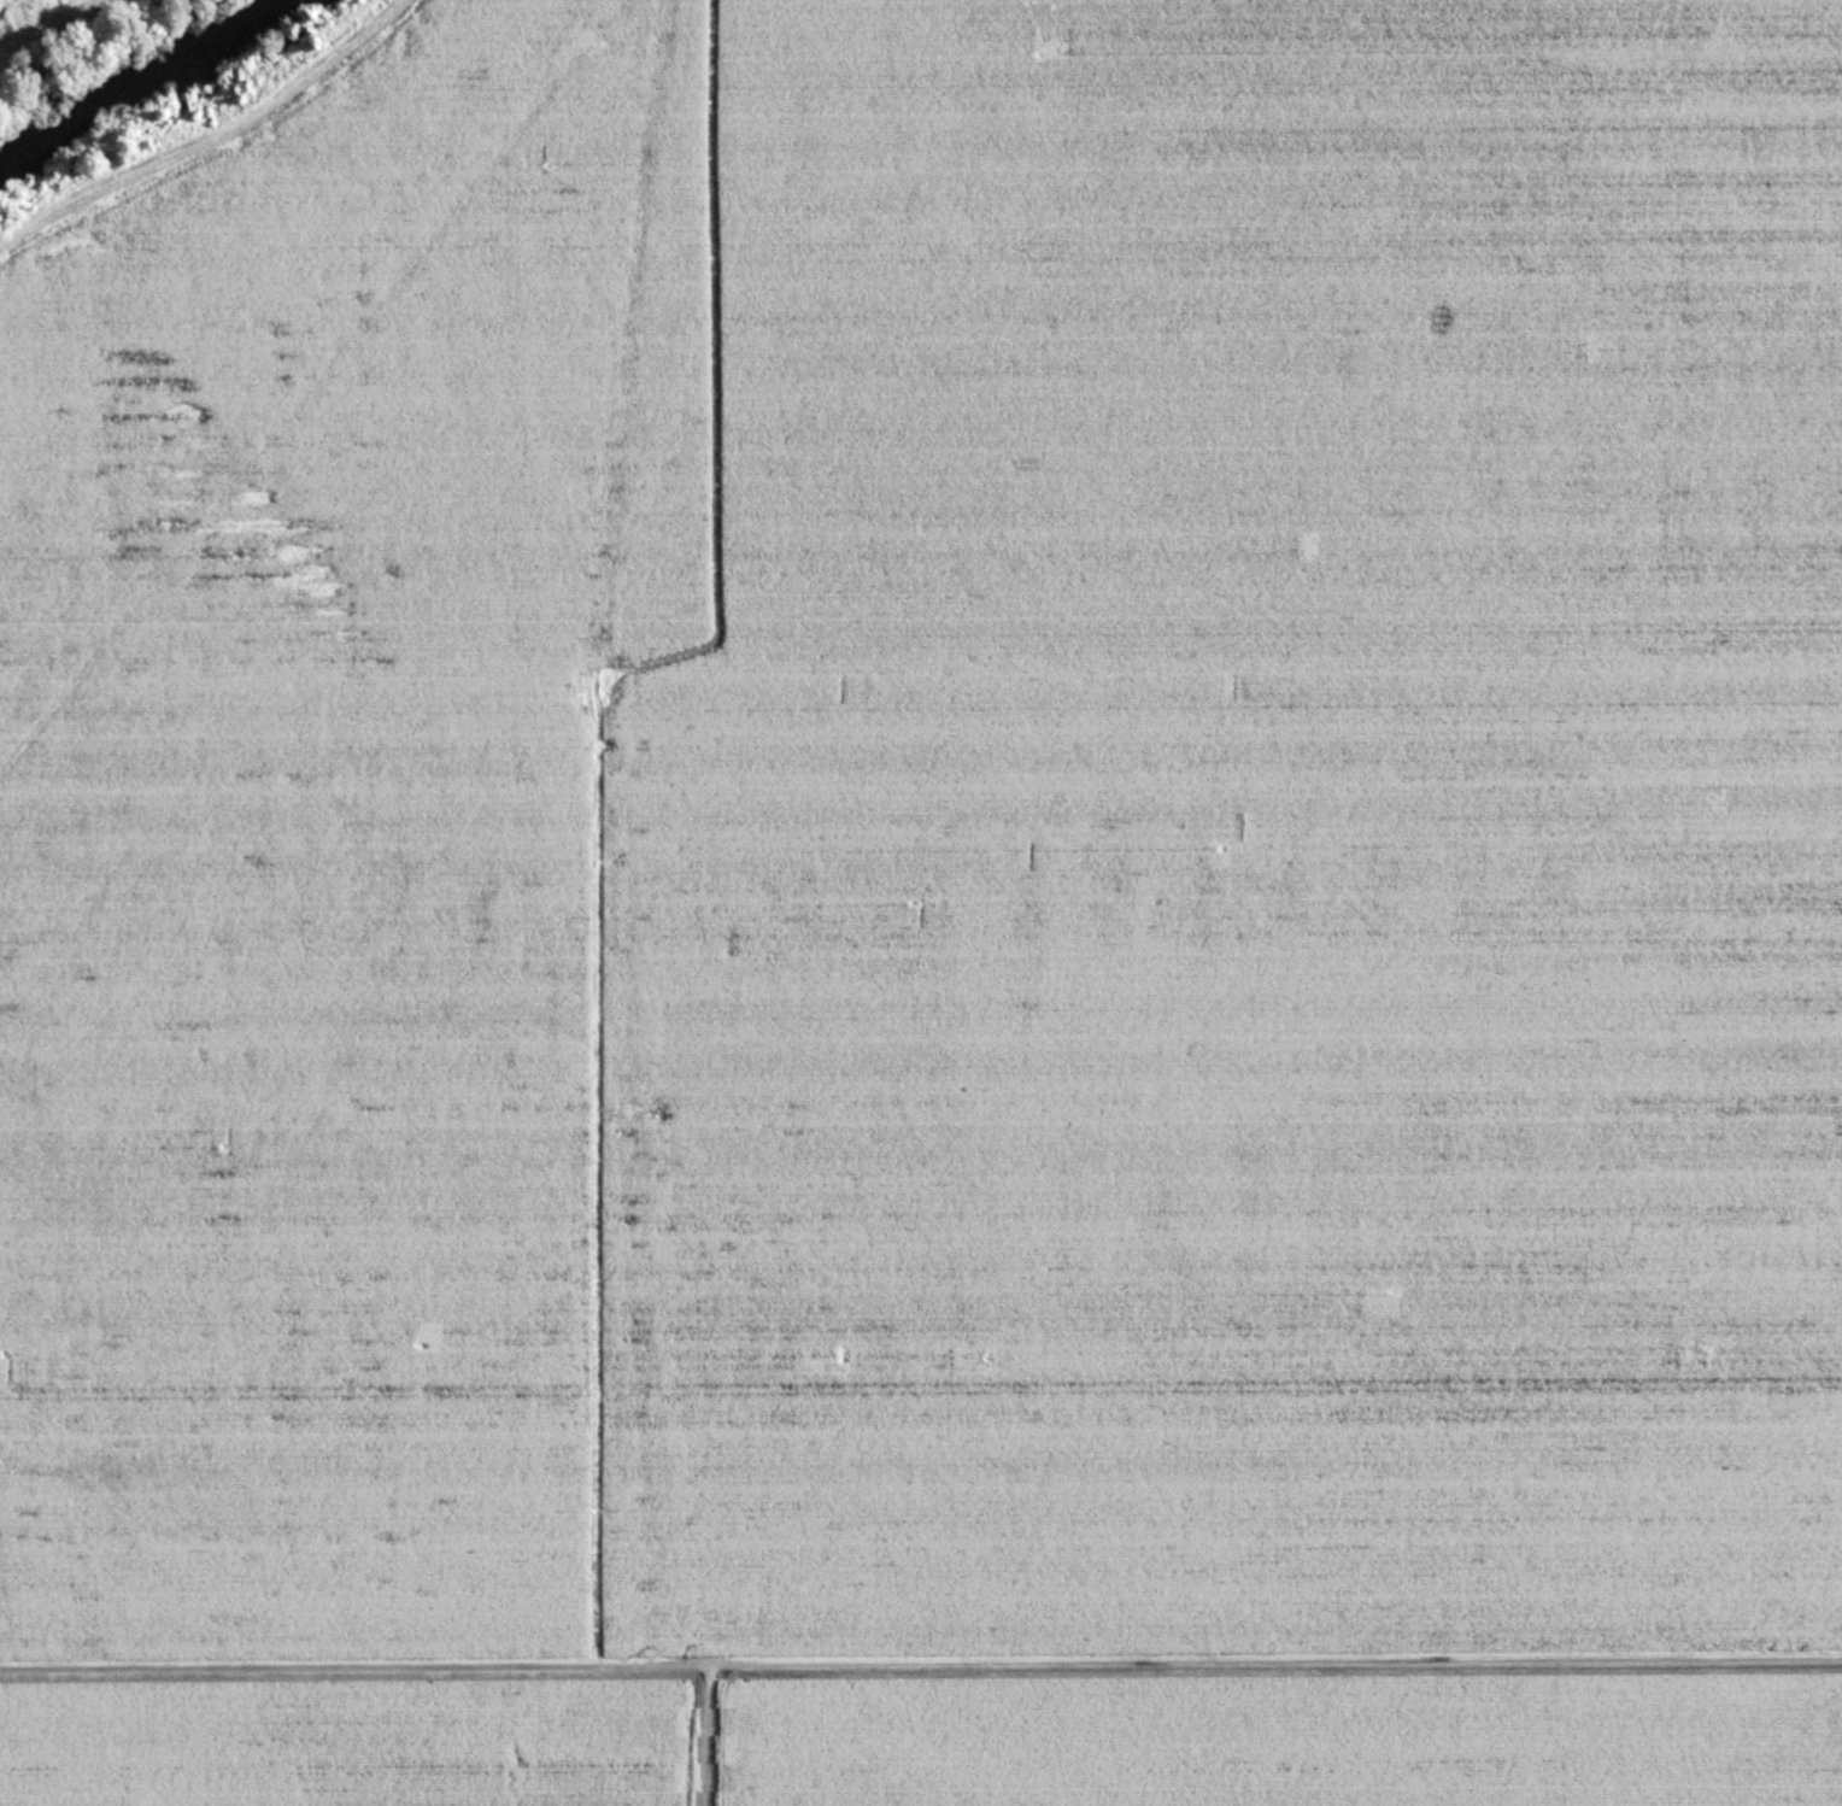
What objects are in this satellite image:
river: (139, 80)
road: (212, 143)
road: (921, 1660)

